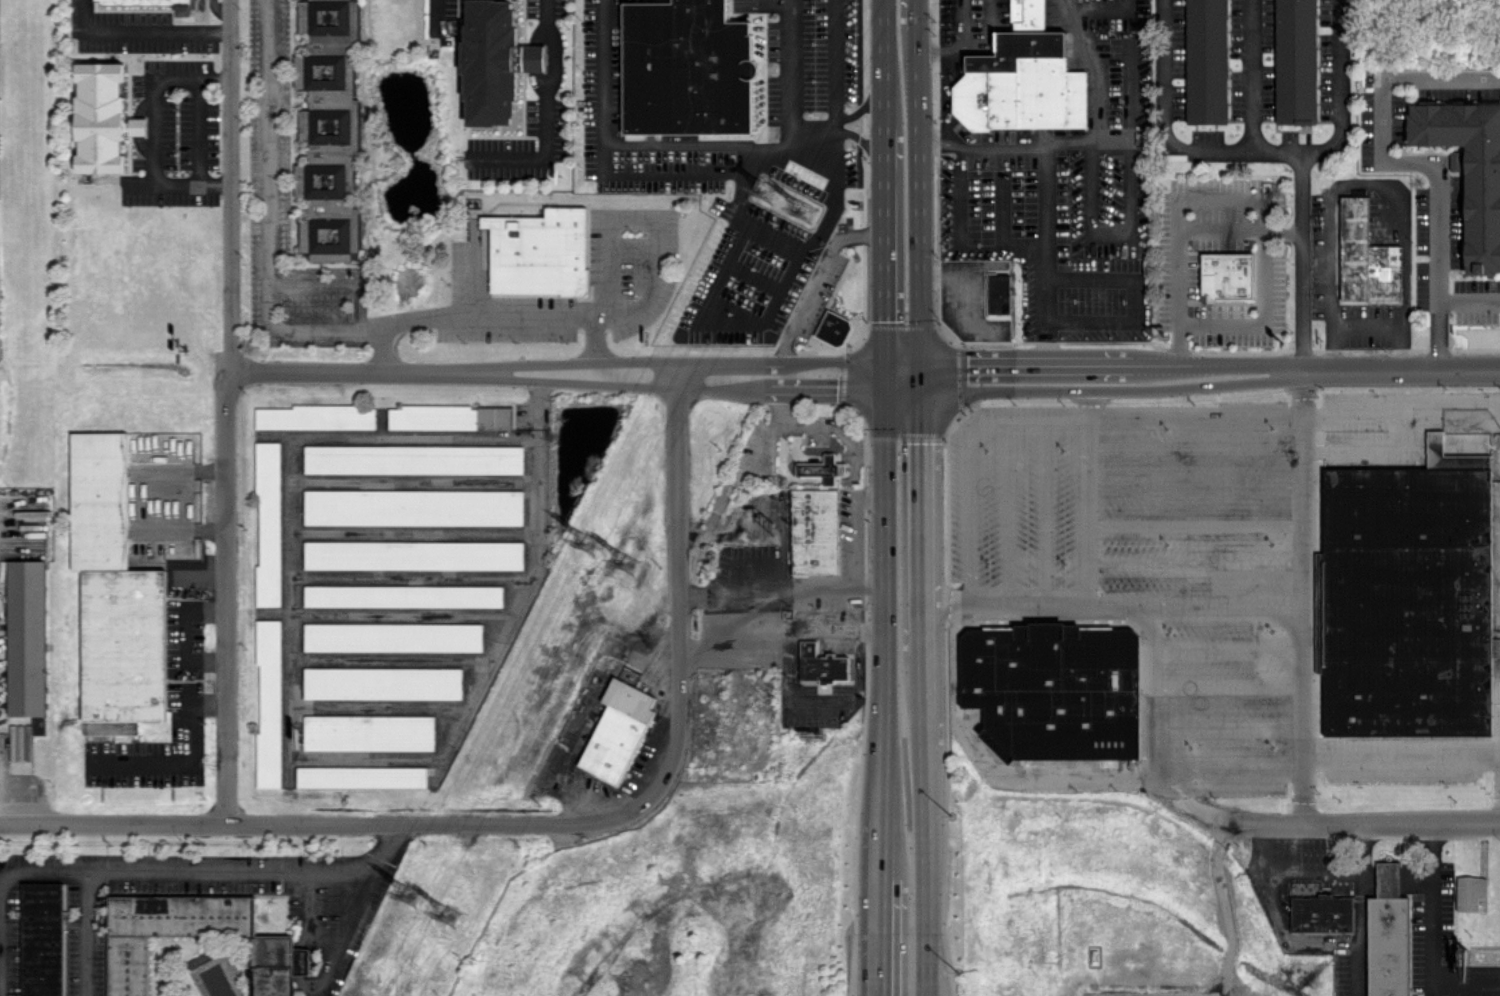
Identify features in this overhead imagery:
road: (1097, 5)
building: (188, 9)
road: (902, 15)
road: (432, 16)
road: (145, 30)
road: (953, 45)
building: (533, 57)
building: (491, 61)
building: (1206, 61)
building: (1296, 61)
road: (832, 66)
road: (902, 66)
building: (686, 68)
road: (785, 71)
road: (1250, 73)
building: (1022, 78)
road: (863, 104)
road: (541, 112)
road: (902, 116)
building: (99, 117)
building: (136, 125)
building: (328, 129)
road: (200, 130)
road: (155, 131)
road: (1097, 135)
road: (902, 136)
road: (869, 141)
road: (931, 143)
road: (1174, 146)
road: (649, 147)
road: (1376, 155)
building: (1469, 170)
road: (655, 174)
road: (1298, 174)
road: (1365, 183)
road: (902, 188)
road: (1237, 196)
power tower: (766, 199)
road: (264, 216)
power tower: (803, 217)
road: (632, 218)
road: (1237, 229)
road: (791, 242)
road: (1001, 246)
building: (538, 251)
building: (1365, 257)
road: (472, 267)
road: (816, 274)
building: (1226, 275)
road: (329, 284)
road: (651, 284)
building: (997, 292)
road: (604, 296)
road: (1467, 300)
road: (902, 304)
road: (465, 314)
road: (718, 317)
building: (833, 328)
road: (1368, 329)
road: (1434, 335)
road: (507, 371)
road: (1201, 372)
road: (842, 375)
traffic signals: (902, 375)
road: (1084, 392)
road: (1445, 399)
road: (1194, 409)
road: (231, 412)
building: (316, 416)
building: (449, 416)
road: (1045, 425)
road: (835, 427)
road: (1401, 431)
road: (1194, 447)
building: (412, 458)
building: (822, 469)
road: (185, 470)
road: (734, 471)
road: (1194, 486)
road: (869, 496)
road: (967, 503)
building: (412, 506)
road: (1085, 508)
road: (919, 512)
road: (1007, 516)
road: (1044, 516)
road: (1194, 524)
building: (267, 525)
road: (184, 528)
road: (884, 528)
building: (814, 531)
road: (853, 538)
power tower: (591, 544)
building: (412, 554)
road: (1194, 563)
power tower: (627, 566)
parking lot: (1182, 572)
road: (868, 580)
road: (766, 585)
building: (114, 595)
building: (401, 595)
road: (1303, 599)
building: (1404, 599)
road: (680, 607)
road: (1111, 608)
road: (182, 633)
building: (392, 636)
building: (26, 637)
road: (1226, 650)
building: (822, 664)
building: (381, 682)
road: (1227, 689)
road: (783, 690)
building: (1054, 691)
road: (1150, 694)
road: (922, 701)
building: (268, 703)
road: (1227, 726)
building: (616, 730)
building: (367, 732)
road: (291, 751)
road: (881, 751)
road: (1402, 756)
road: (193, 761)
road: (1227, 769)
building: (360, 776)
road: (1064, 780)
road: (312, 823)
road: (1402, 826)
road: (896, 839)
road: (879, 851)
road: (231, 872)
road: (924, 872)
road: (1368, 877)
road: (1388, 877)
road: (1415, 877)
road: (84, 887)
building: (1470, 892)
power tower: (410, 900)
road: (362, 906)
road: (1358, 907)
power tower: (452, 913)
building: (1322, 913)
road: (1278, 917)
building: (1388, 935)
road: (1430, 938)
building: (42, 939)
road: (879, 939)
building: (272, 941)
road: (0, 979)

